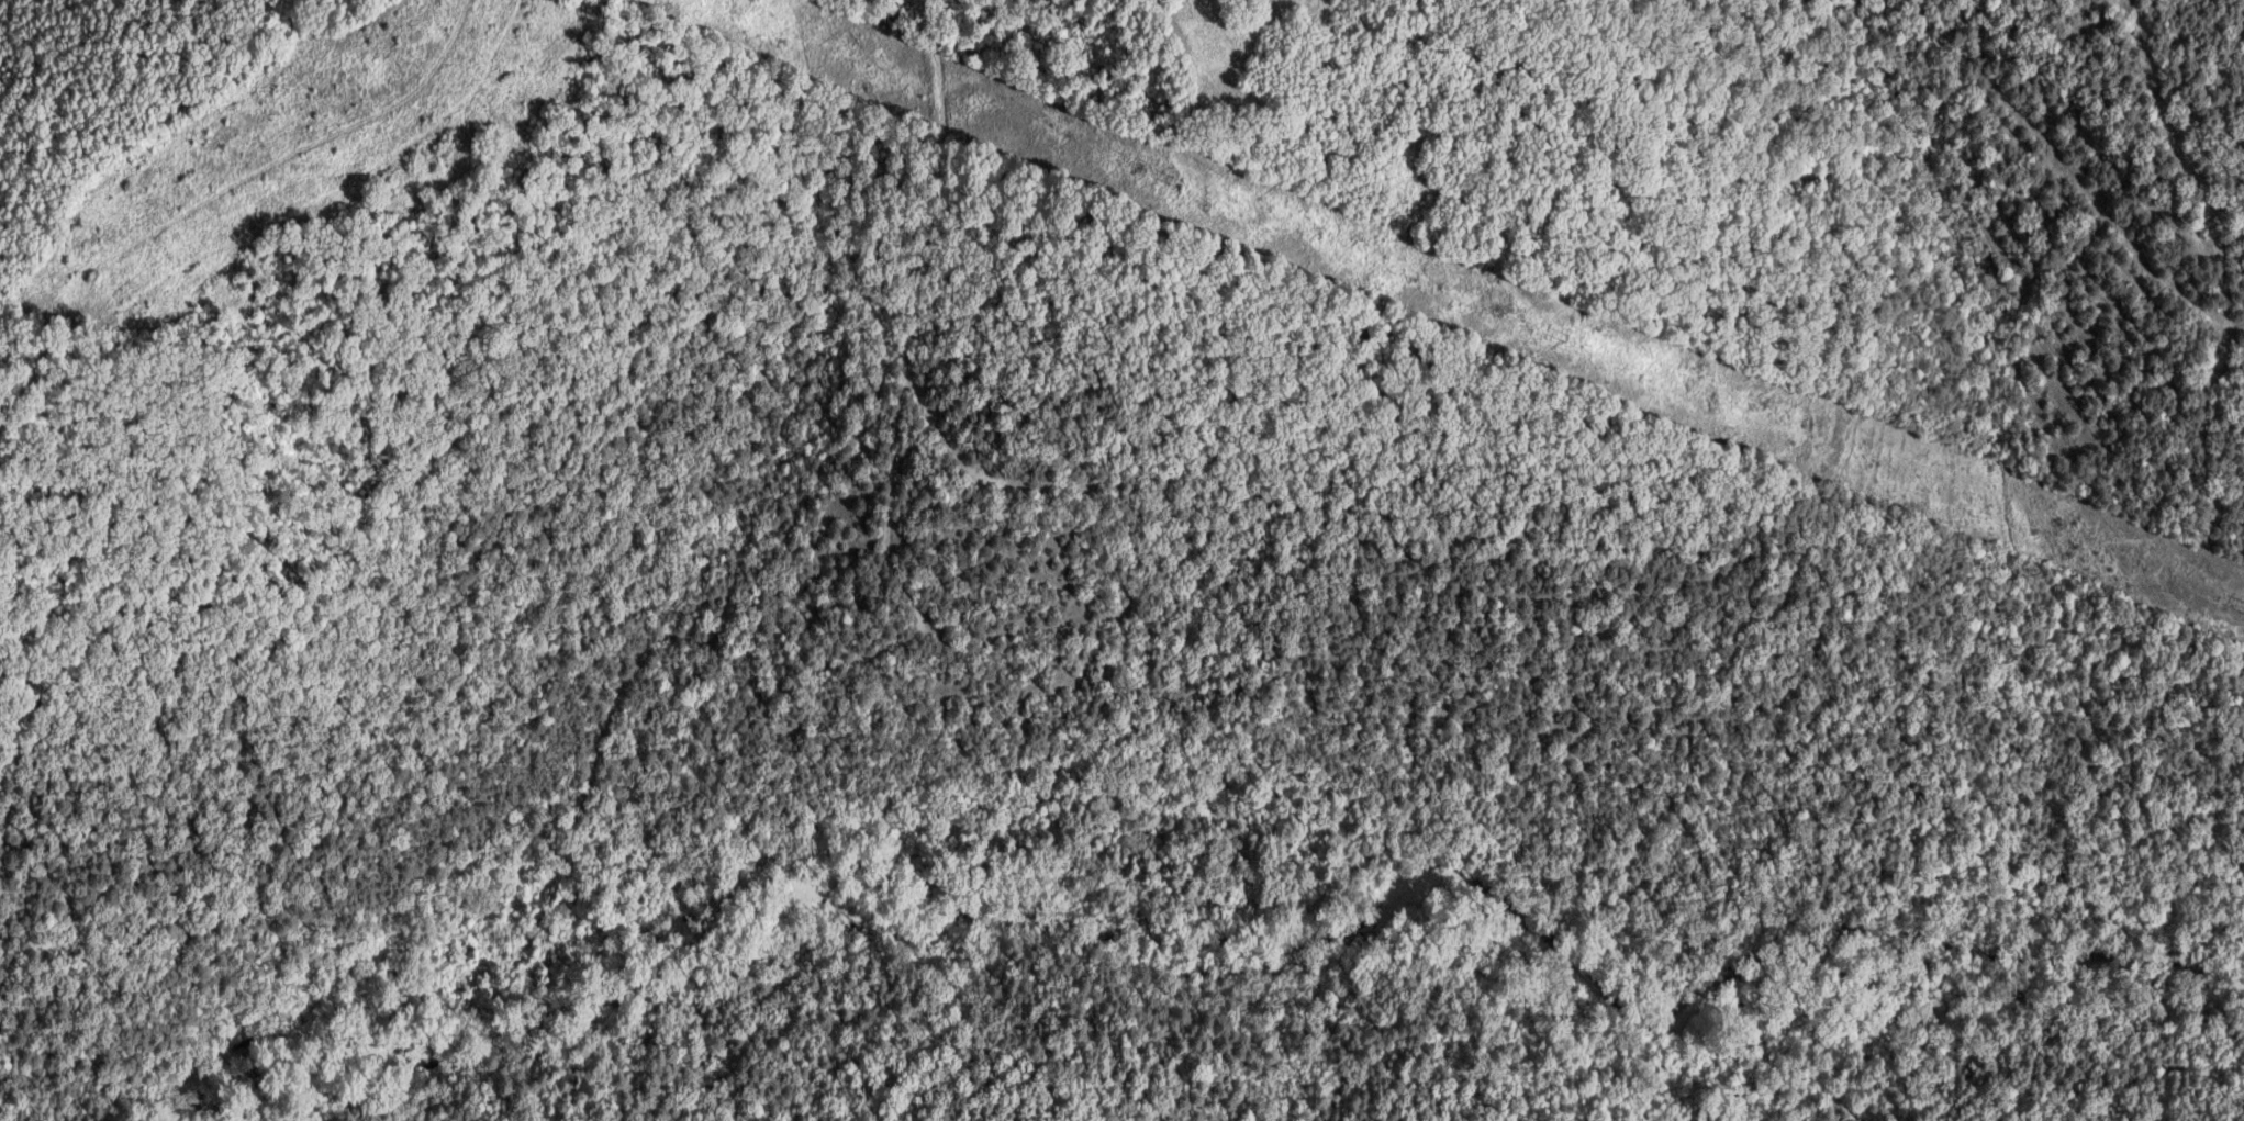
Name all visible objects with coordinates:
road: (311, 182)
power tower: (1183, 186)
power tower: (1570, 338)

